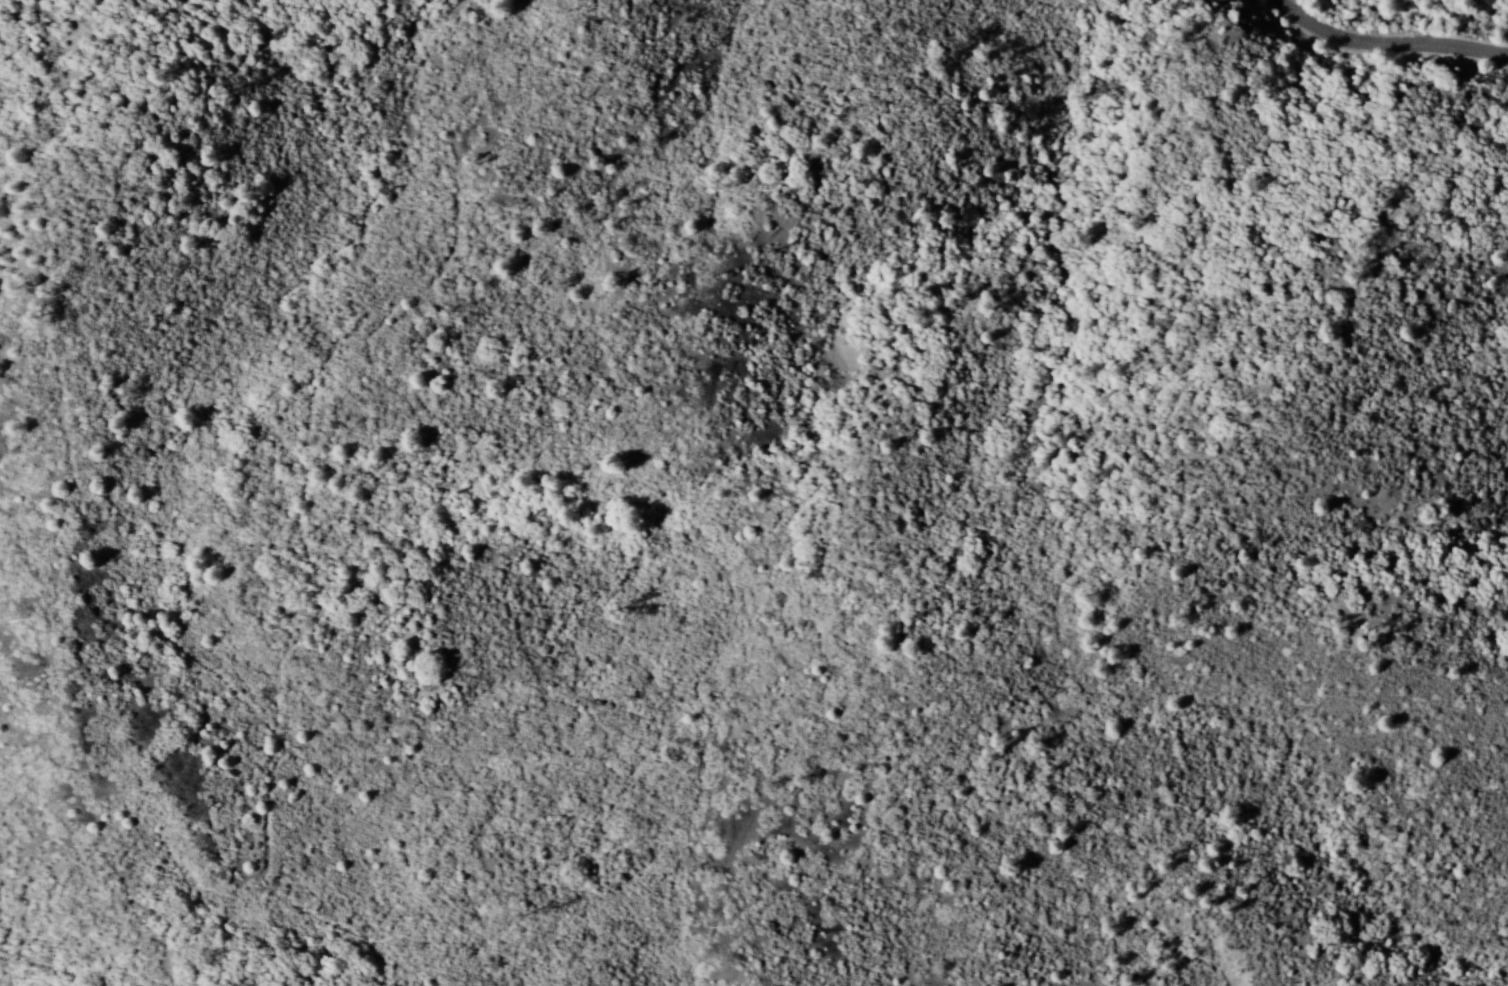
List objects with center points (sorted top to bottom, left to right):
road: (1386, 48)

